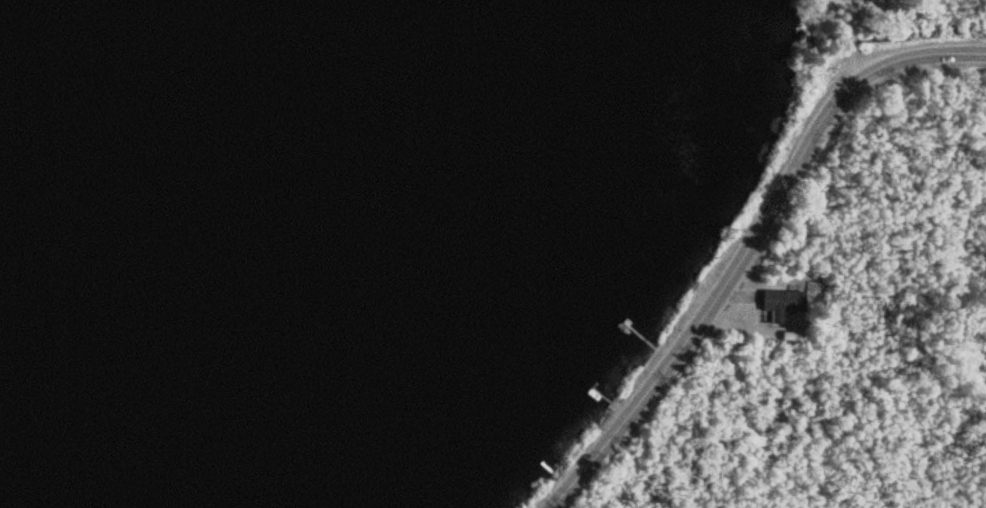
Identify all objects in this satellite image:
road: (748, 243)
building: (779, 304)

